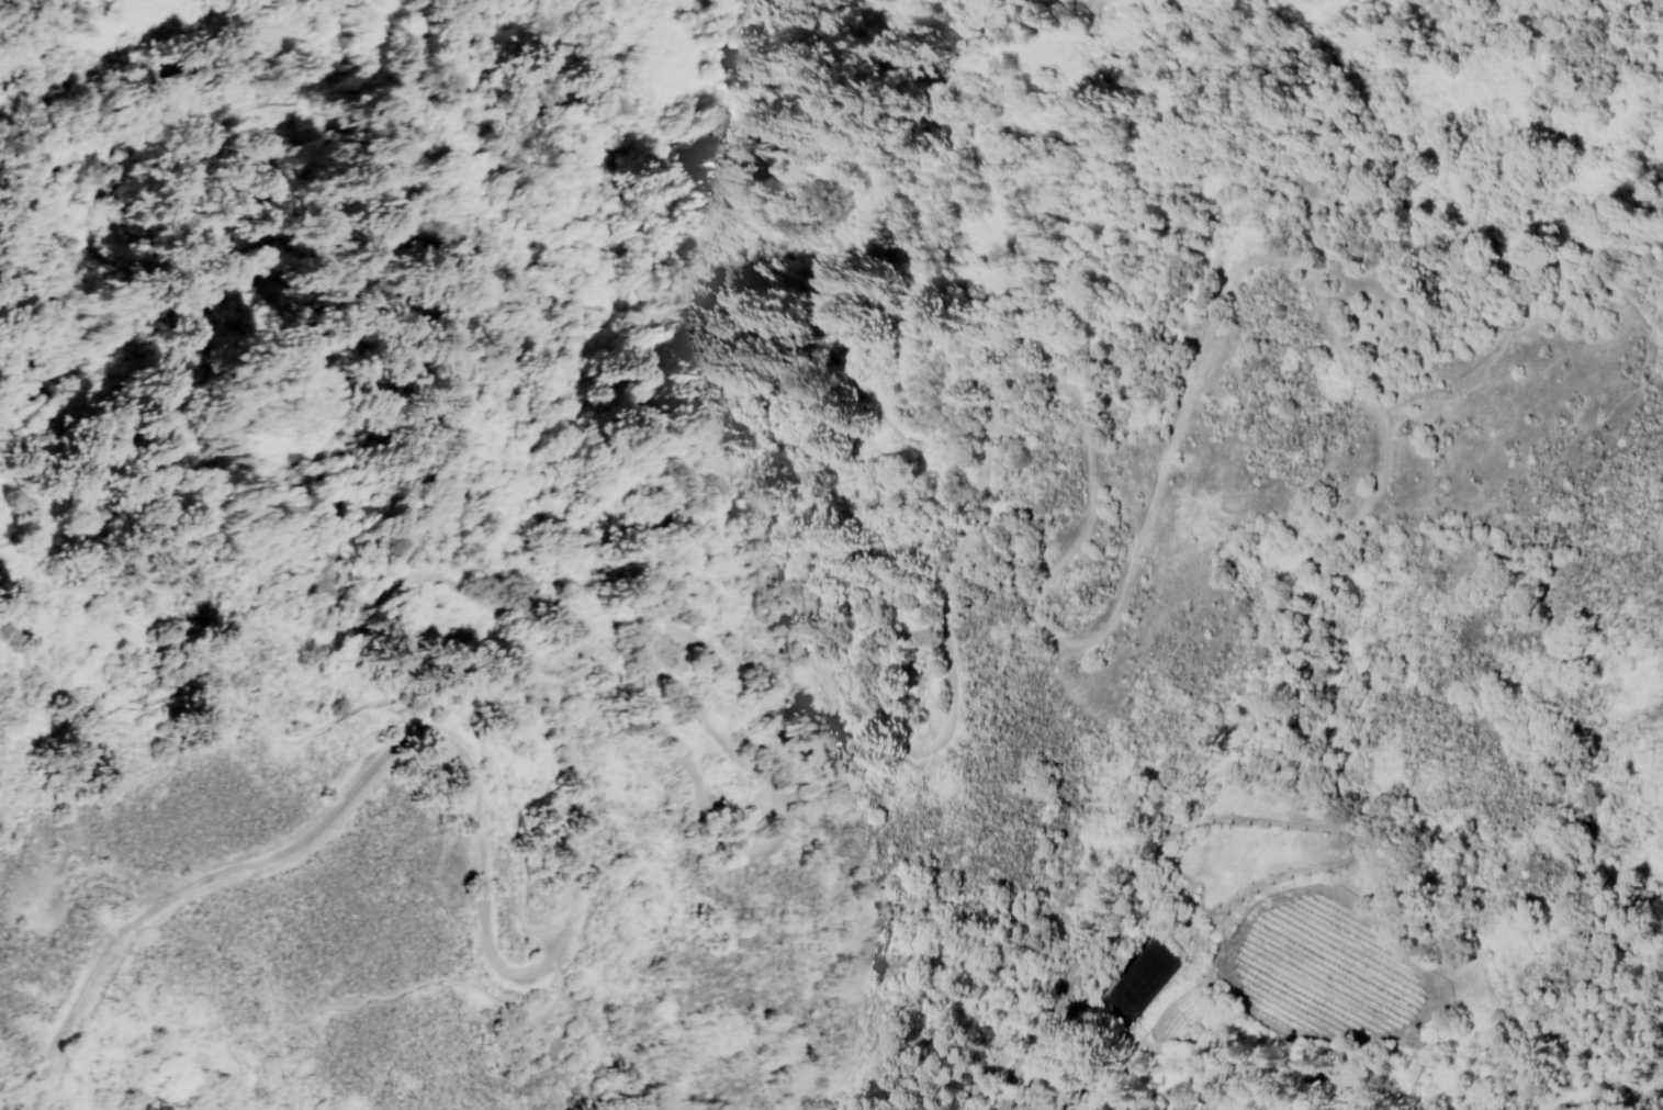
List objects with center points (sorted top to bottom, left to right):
road: (1623, 235)
road: (852, 408)
road: (639, 587)
road: (507, 793)
park: (1135, 977)

